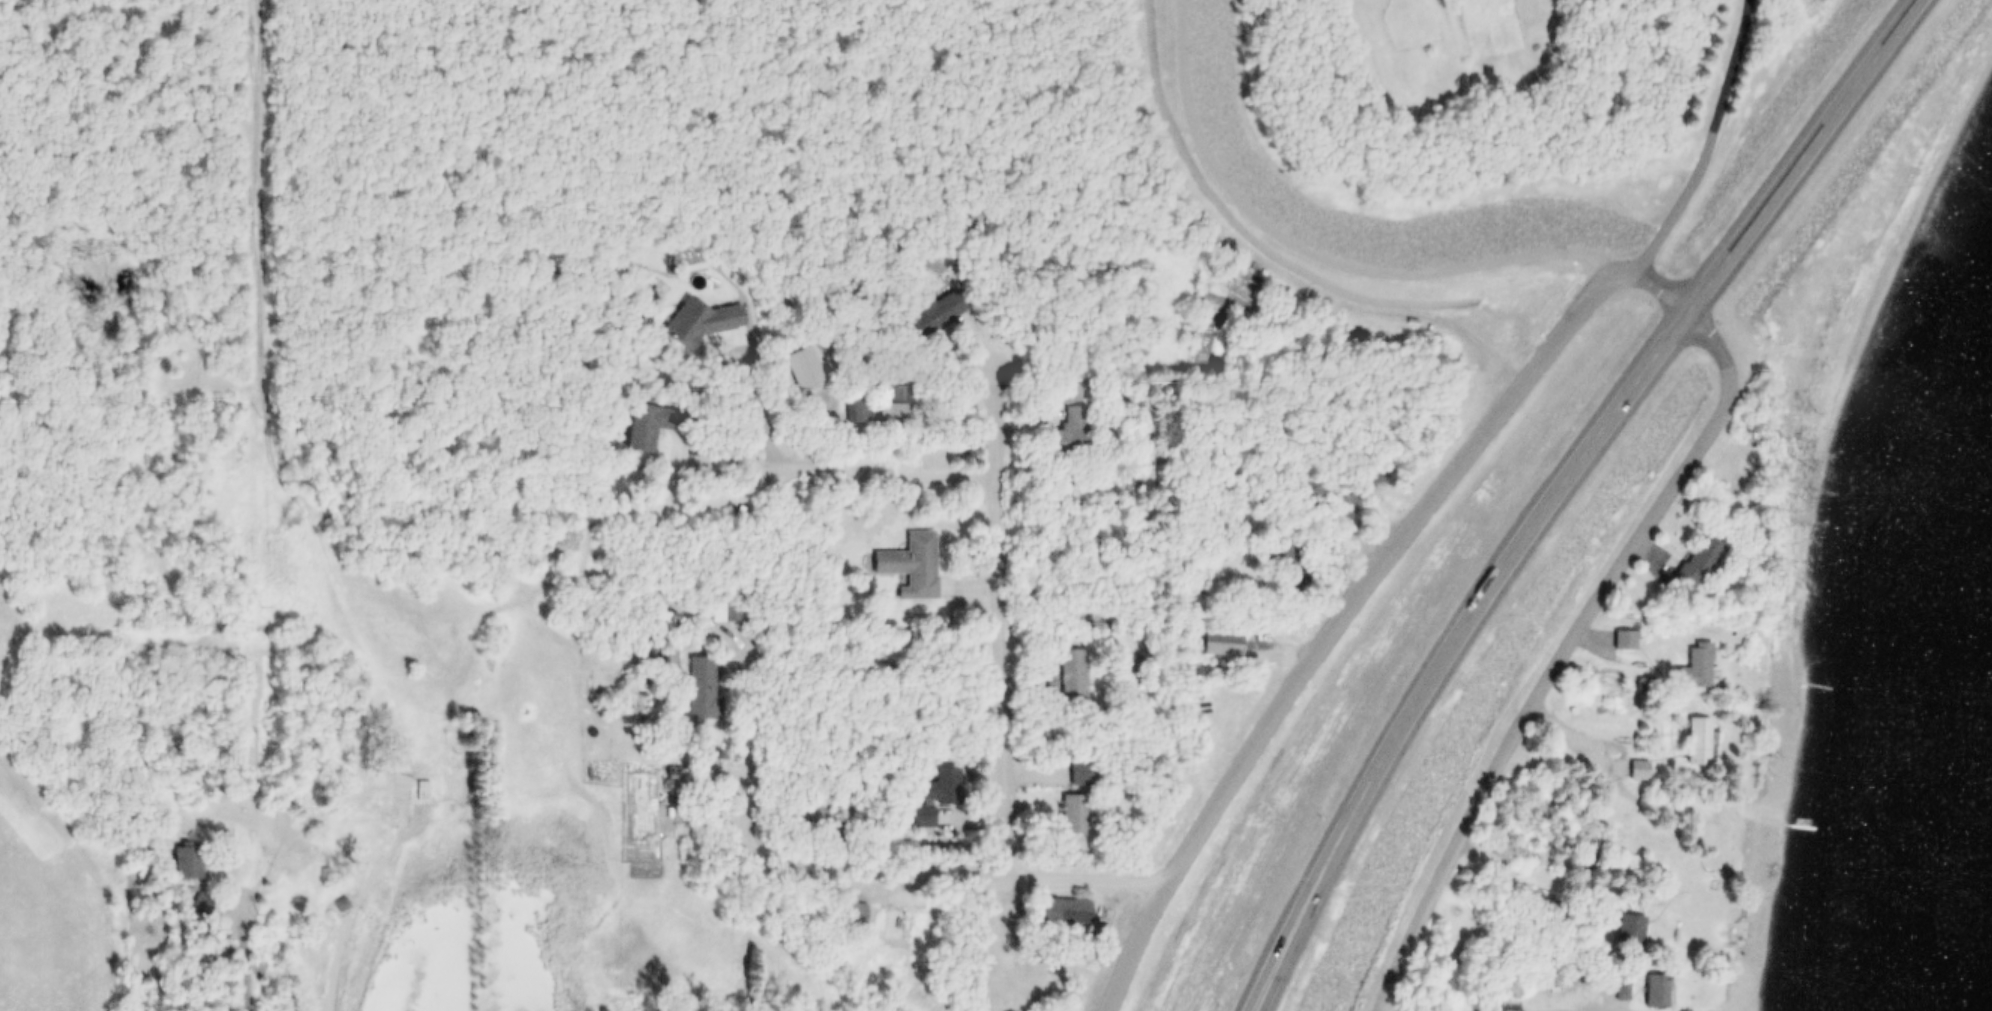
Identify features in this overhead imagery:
road: (1712, 144)
road: (1668, 286)
building: (931, 309)
building: (692, 319)
building: (798, 366)
building: (1067, 405)
building: (862, 412)
building: (899, 412)
building: (646, 424)
building: (1077, 434)
road: (267, 459)
road: (850, 470)
building: (1389, 477)
road: (1577, 484)
building: (1342, 504)
building: (730, 506)
building: (1280, 547)
building: (1683, 559)
building: (903, 560)
building: (1701, 564)
building: (720, 610)
building: (655, 621)
road: (1003, 621)
building: (667, 625)
road: (1412, 630)
building: (1616, 637)
building: (1215, 641)
building: (1627, 642)
road: (1574, 643)
building: (1135, 662)
building: (1684, 665)
building: (1699, 669)
building: (1067, 671)
building: (1078, 681)
building: (1265, 690)
building: (696, 691)
building: (1686, 737)
building: (1701, 743)
building: (1631, 767)
building: (1073, 769)
building: (1641, 772)
building: (1085, 774)
building: (413, 788)
building: (424, 792)
road: (1641, 793)
building: (933, 796)
building: (1064, 810)
building: (1078, 815)
building: (841, 835)
building: (1748, 837)
building: (175, 858)
building: (190, 863)
road: (885, 875)
building: (188, 902)
building: (333, 903)
building: (204, 905)
building: (1053, 907)
building: (846, 909)
building: (1717, 915)
building: (859, 916)
road: (346, 918)
building: (892, 926)
building: (1622, 929)
road: (233, 952)
building: (1128, 973)
building: (1612, 987)
building: (1644, 987)
building: (1599, 990)
building: (1659, 993)
building: (734, 1007)

